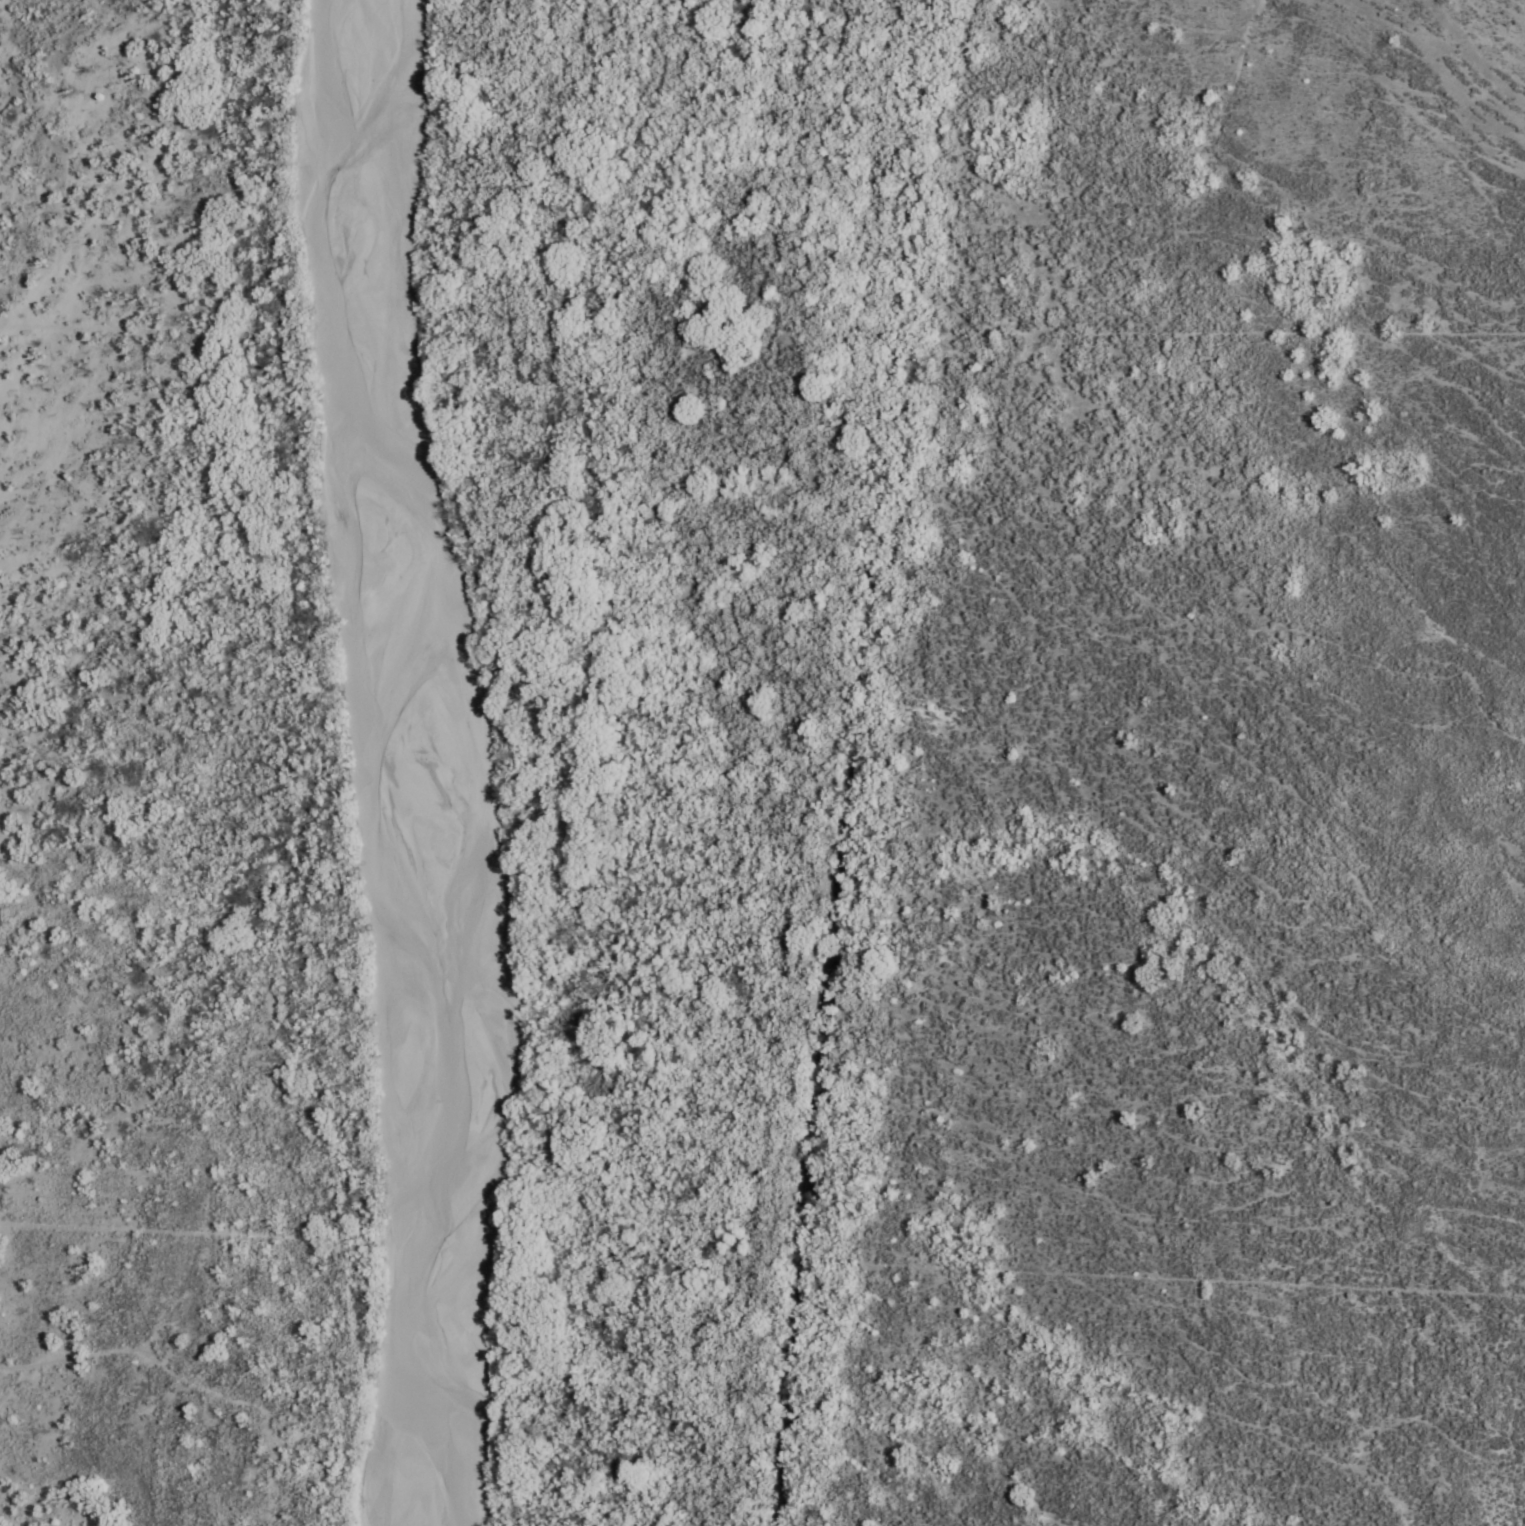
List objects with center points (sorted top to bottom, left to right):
river: (405, 762)

